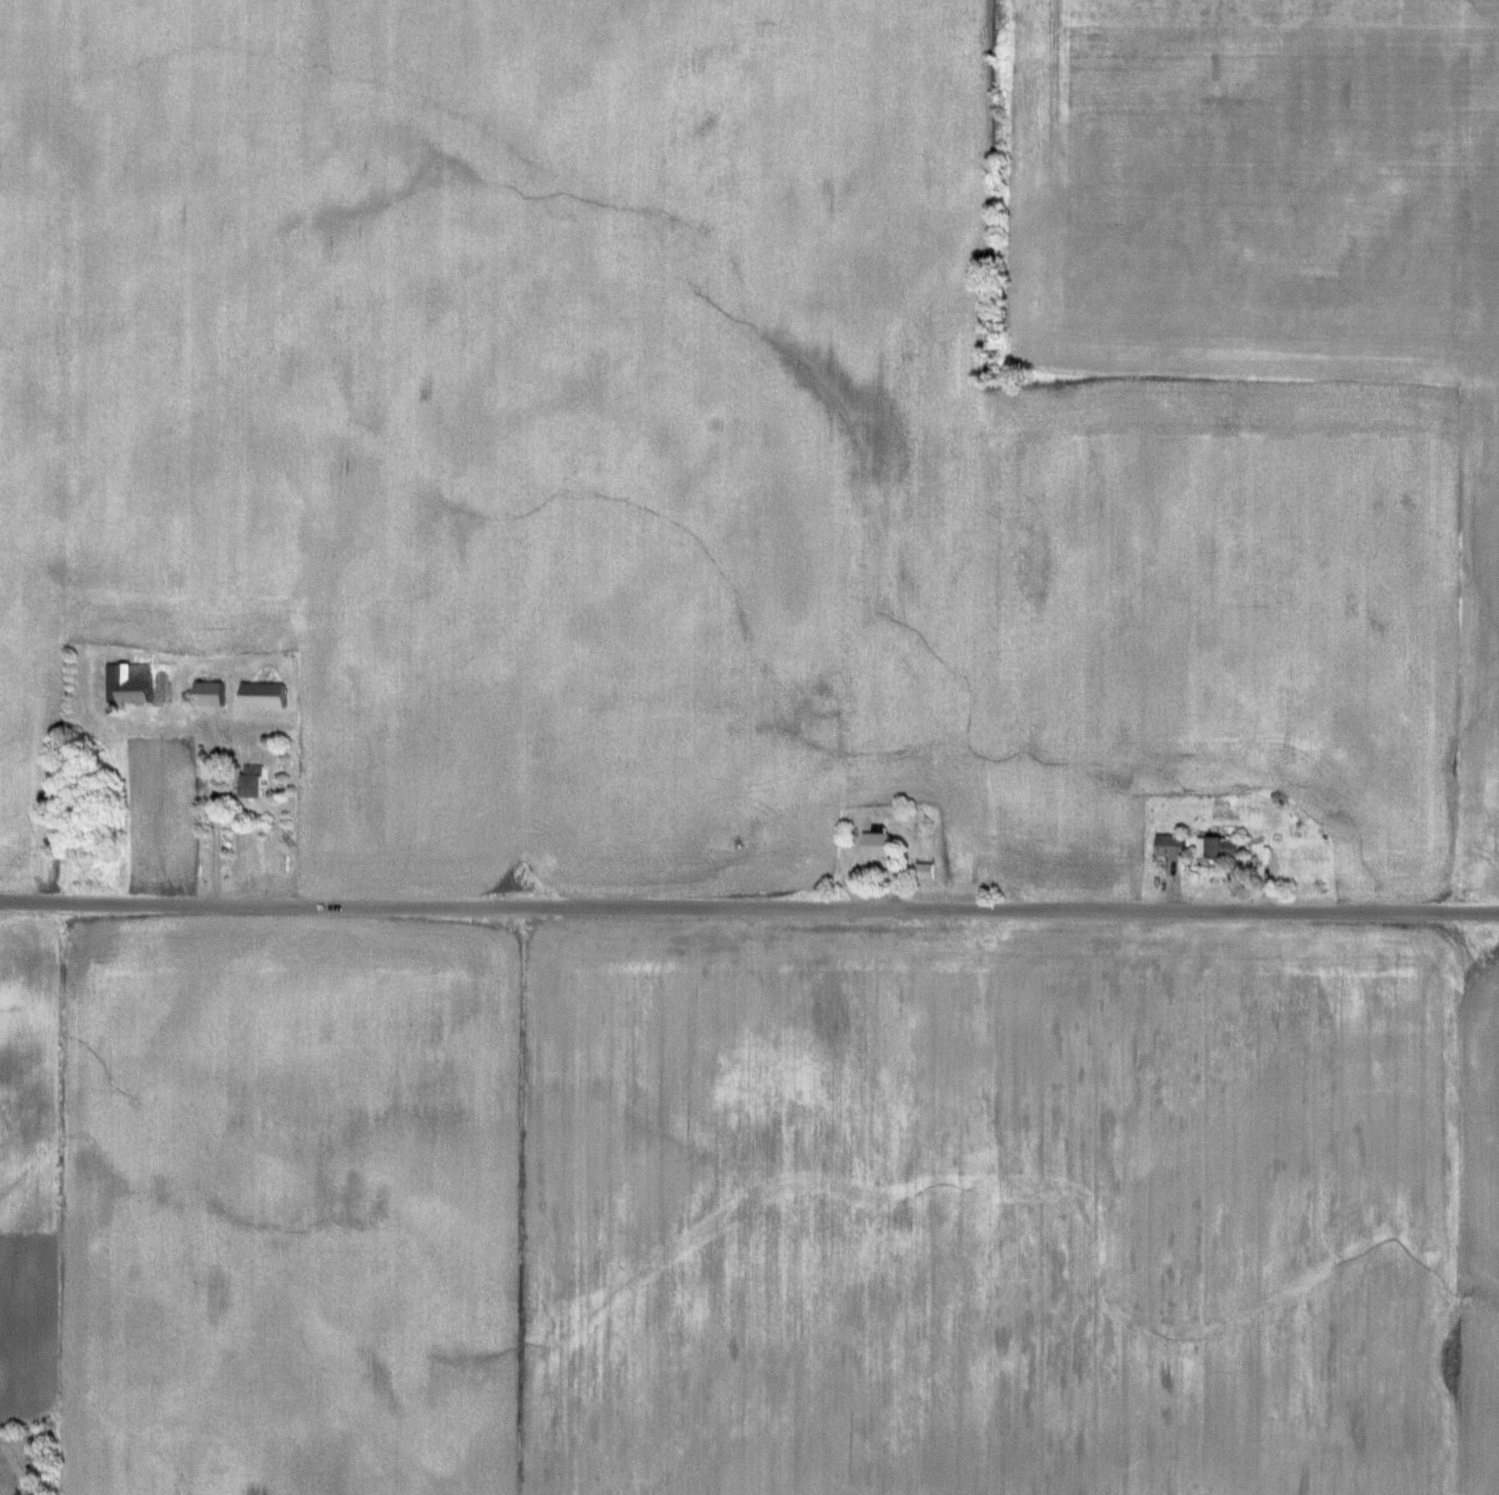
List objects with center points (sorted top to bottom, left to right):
building: (132, 684)
building: (214, 695)
building: (268, 696)
building: (258, 783)
road: (213, 815)
building: (881, 841)
building: (1173, 846)
building: (1224, 847)
building: (927, 870)
road: (749, 908)

